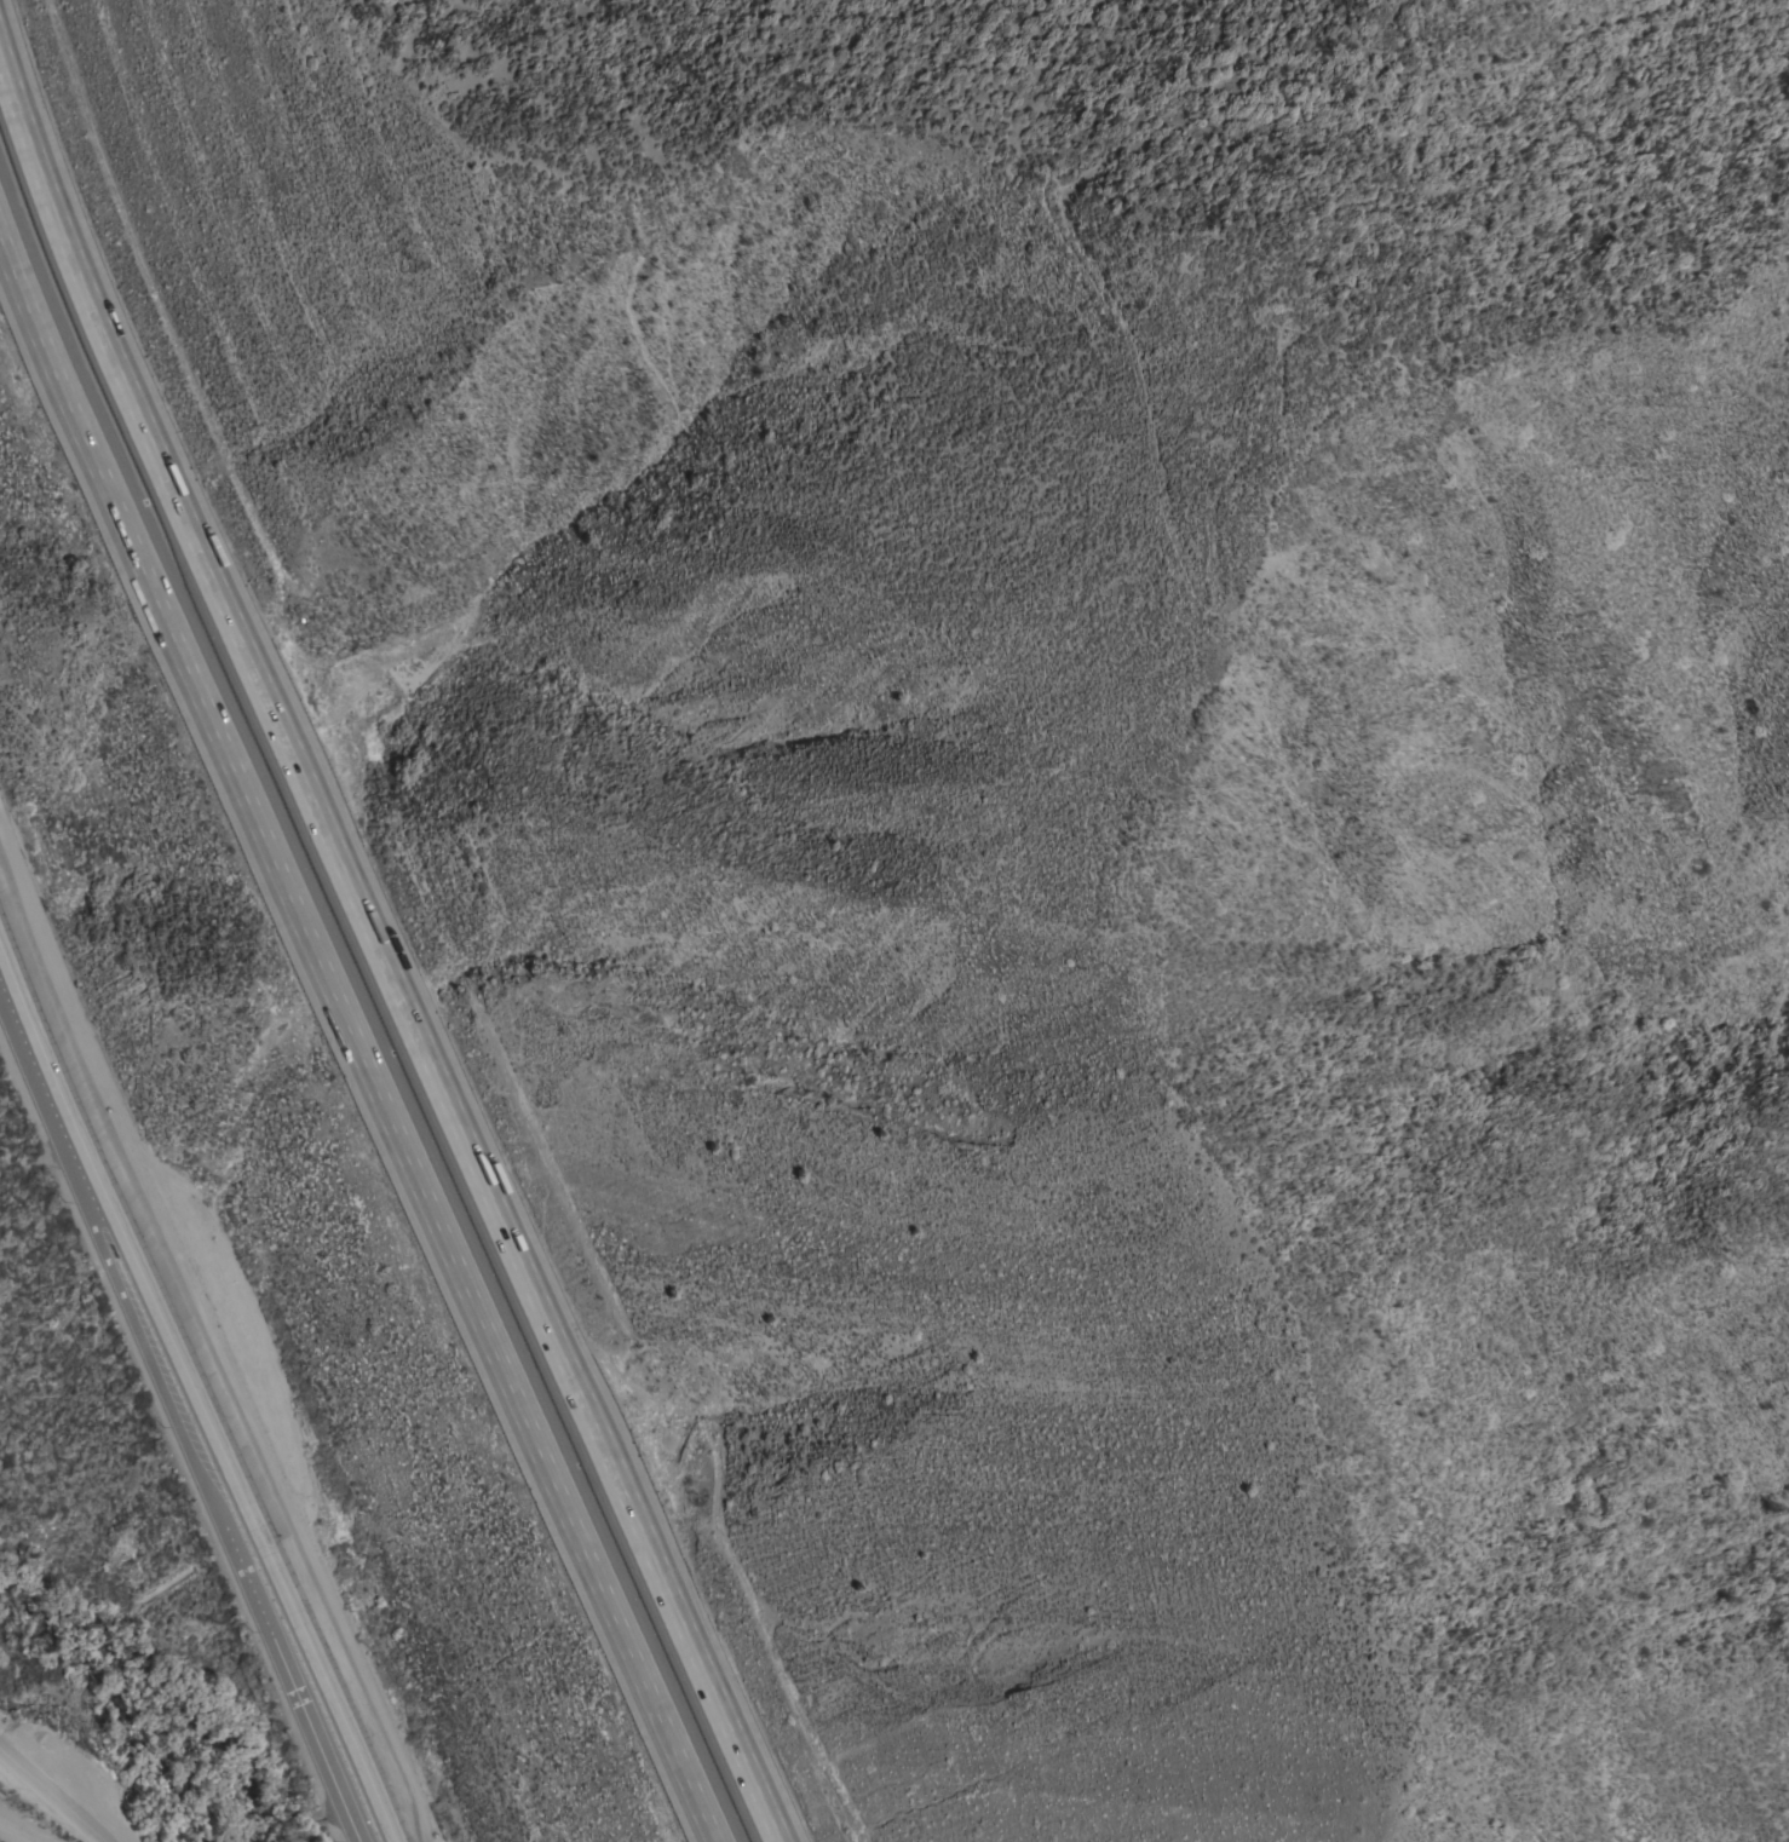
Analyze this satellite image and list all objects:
road: (381, 946)
road: (353, 1044)
road: (217, 1329)
road: (197, 1388)
road: (46, 1791)

